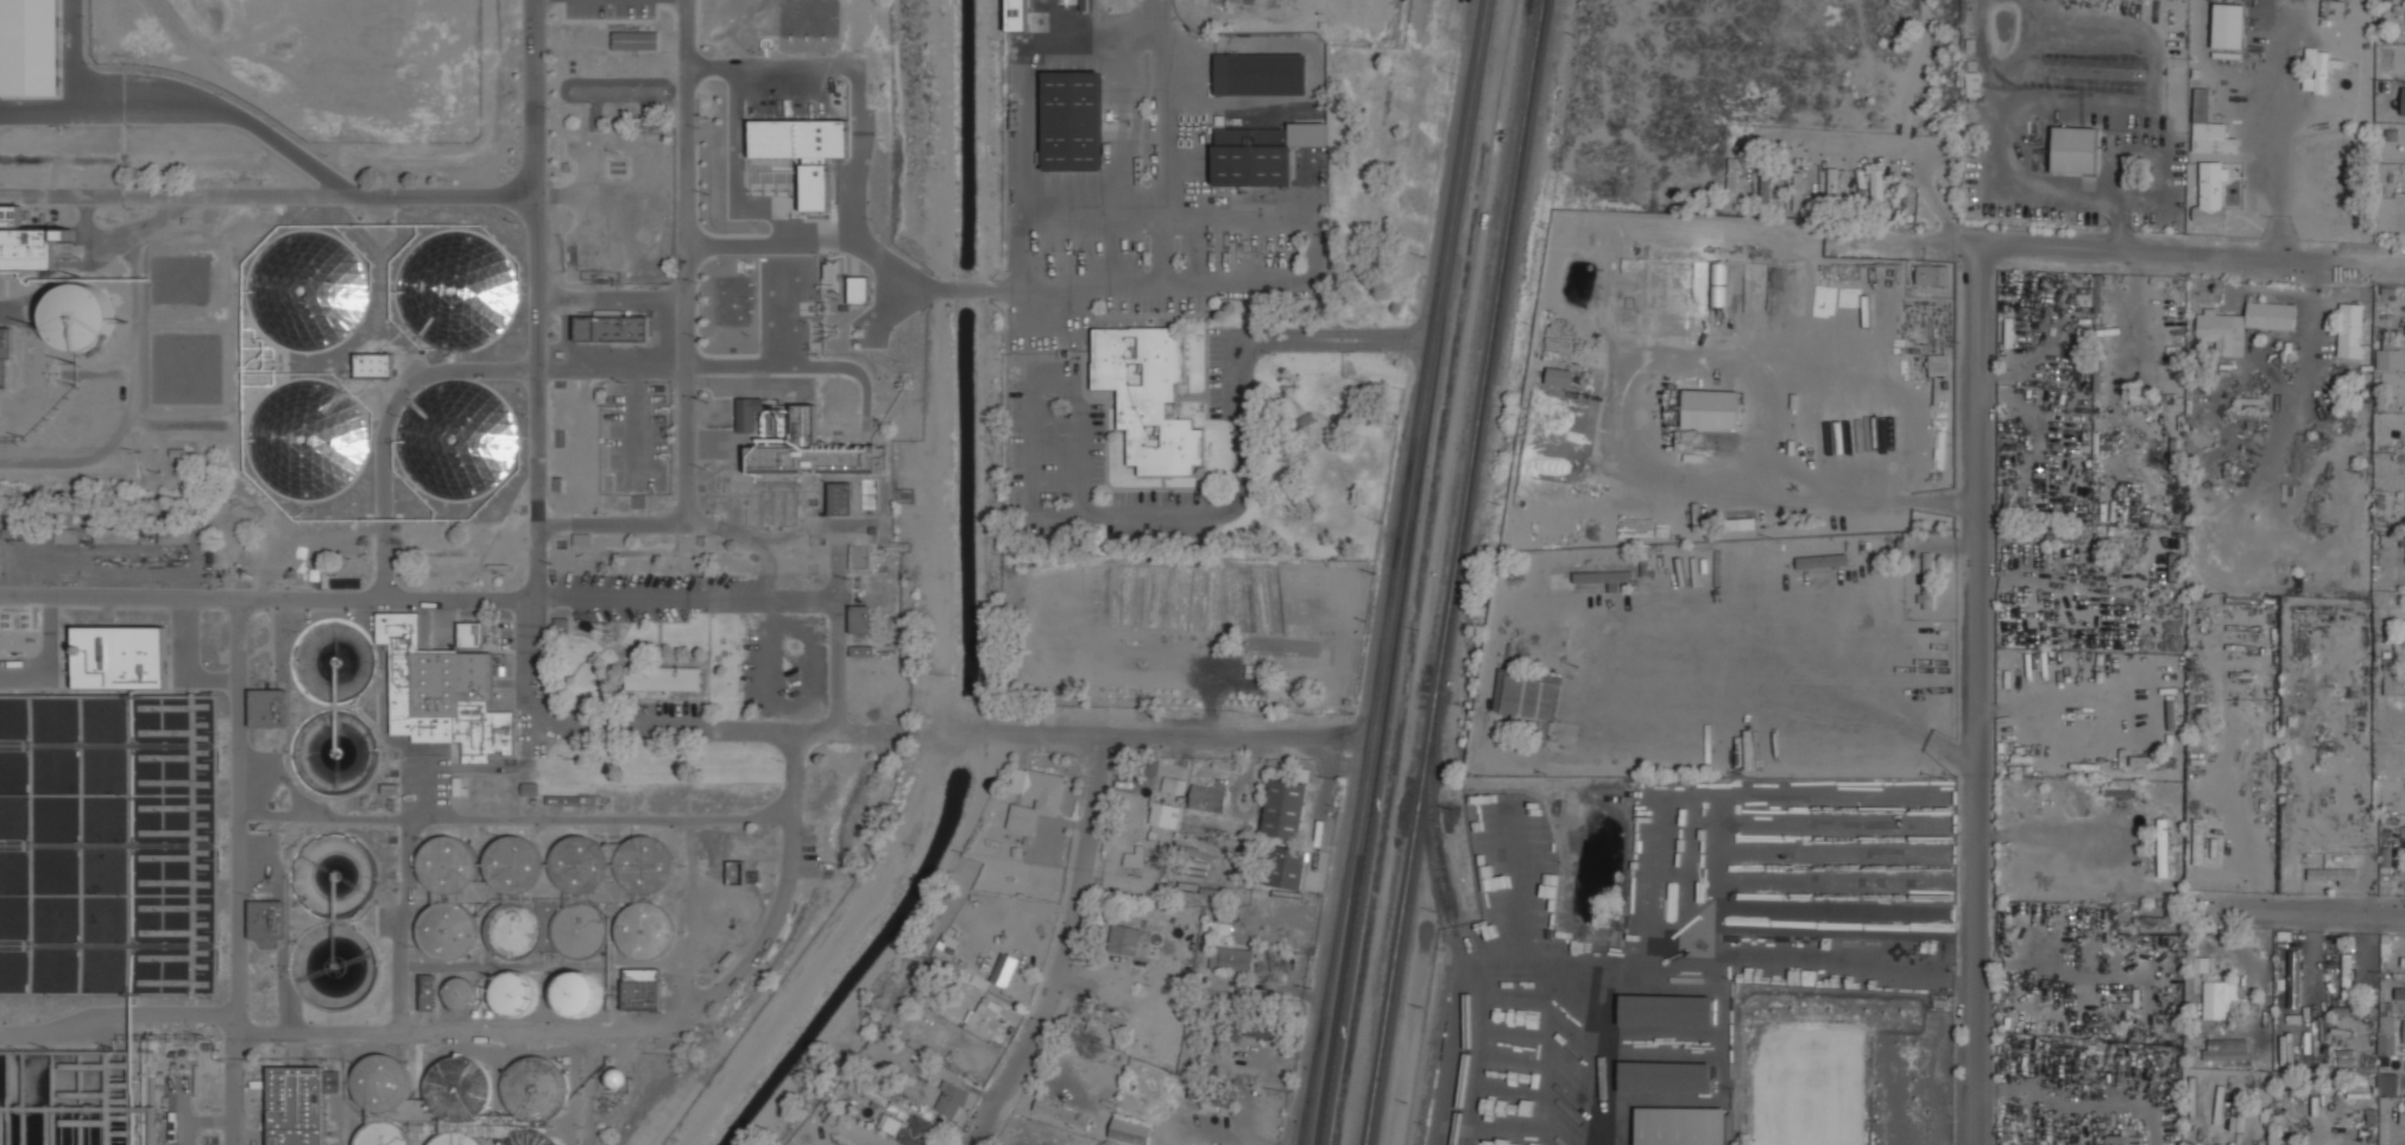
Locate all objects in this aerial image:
building: (2228, 25)
building: (636, 39)
building: (31, 48)
building: (2316, 70)
building: (1261, 74)
building: (1972, 83)
building: (2403, 101)
building: (1073, 120)
building: (2209, 128)
road: (532, 148)
building: (2073, 150)
building: (803, 151)
building: (1252, 156)
building: (1766, 184)
building: (1832, 184)
building: (1877, 186)
building: (2210, 191)
building: (1800, 192)
building: (349, 227)
road: (1604, 239)
road: (1835, 246)
building: (32, 248)
building: (394, 248)
road: (2191, 255)
building: (1933, 274)
road: (1222, 280)
building: (858, 290)
road: (583, 298)
building: (83, 306)
building: (2270, 315)
building: (613, 327)
building: (2350, 329)
building: (2222, 331)
building: (5, 356)
building: (2388, 359)
road: (1445, 360)
building: (374, 365)
building: (1560, 377)
building: (1149, 396)
building: (1711, 409)
building: (749, 413)
building: (818, 457)
building: (840, 496)
road: (1239, 505)
building: (68, 534)
building: (2064, 536)
building: (170, 538)
building: (0, 548)
building: (1812, 561)
road: (1399, 572)
railway: (1456, 572)
building: (1929, 580)
wastewater plant: (452, 589)
road: (2390, 590)
building: (861, 619)
building: (468, 632)
building: (861, 650)
building: (120, 656)
building: (2393, 676)
building: (664, 678)
building: (443, 691)
road: (1972, 696)
building: (1527, 700)
building: (267, 707)
road: (2063, 710)
road: (1185, 734)
building: (529, 789)
building: (1208, 797)
building: (1048, 799)
building: (1286, 808)
building: (1163, 821)
building: (2198, 841)
building: (2163, 847)
building: (1135, 859)
building: (447, 862)
building: (513, 864)
building: (1287, 867)
building: (643, 868)
building: (579, 896)
road: (2322, 910)
building: (267, 918)
railway: (1452, 919)
building: (1642, 919)
building: (2159, 921)
building: (447, 926)
building: (1222, 928)
building: (645, 929)
building: (512, 930)
road: (1358, 932)
building: (1125, 938)
road: (1054, 944)
building: (1232, 957)
building: (1005, 969)
building: (2347, 976)
building: (642, 988)
building: (428, 992)
building: (460, 993)
building: (515, 993)
building: (580, 993)
building: (2399, 993)
building: (2218, 999)
building: (1666, 1010)
building: (986, 1014)
building: (1250, 1020)
building: (1104, 1026)
building: (2386, 1029)
building: (2404, 1032)
building: (2226, 1049)
building: (619, 1077)
building: (1666, 1077)
building: (2387, 1083)
building: (875, 1094)
building: (453, 1099)
building: (951, 1099)
building: (301, 1103)
building: (1063, 1113)
building: (2401, 1118)
building: (1680, 1125)
building: (910, 1128)
building: (1130, 1130)
building: (141, 1134)
building: (531, 1138)
building: (2260, 1141)
building: (850, 1144)

